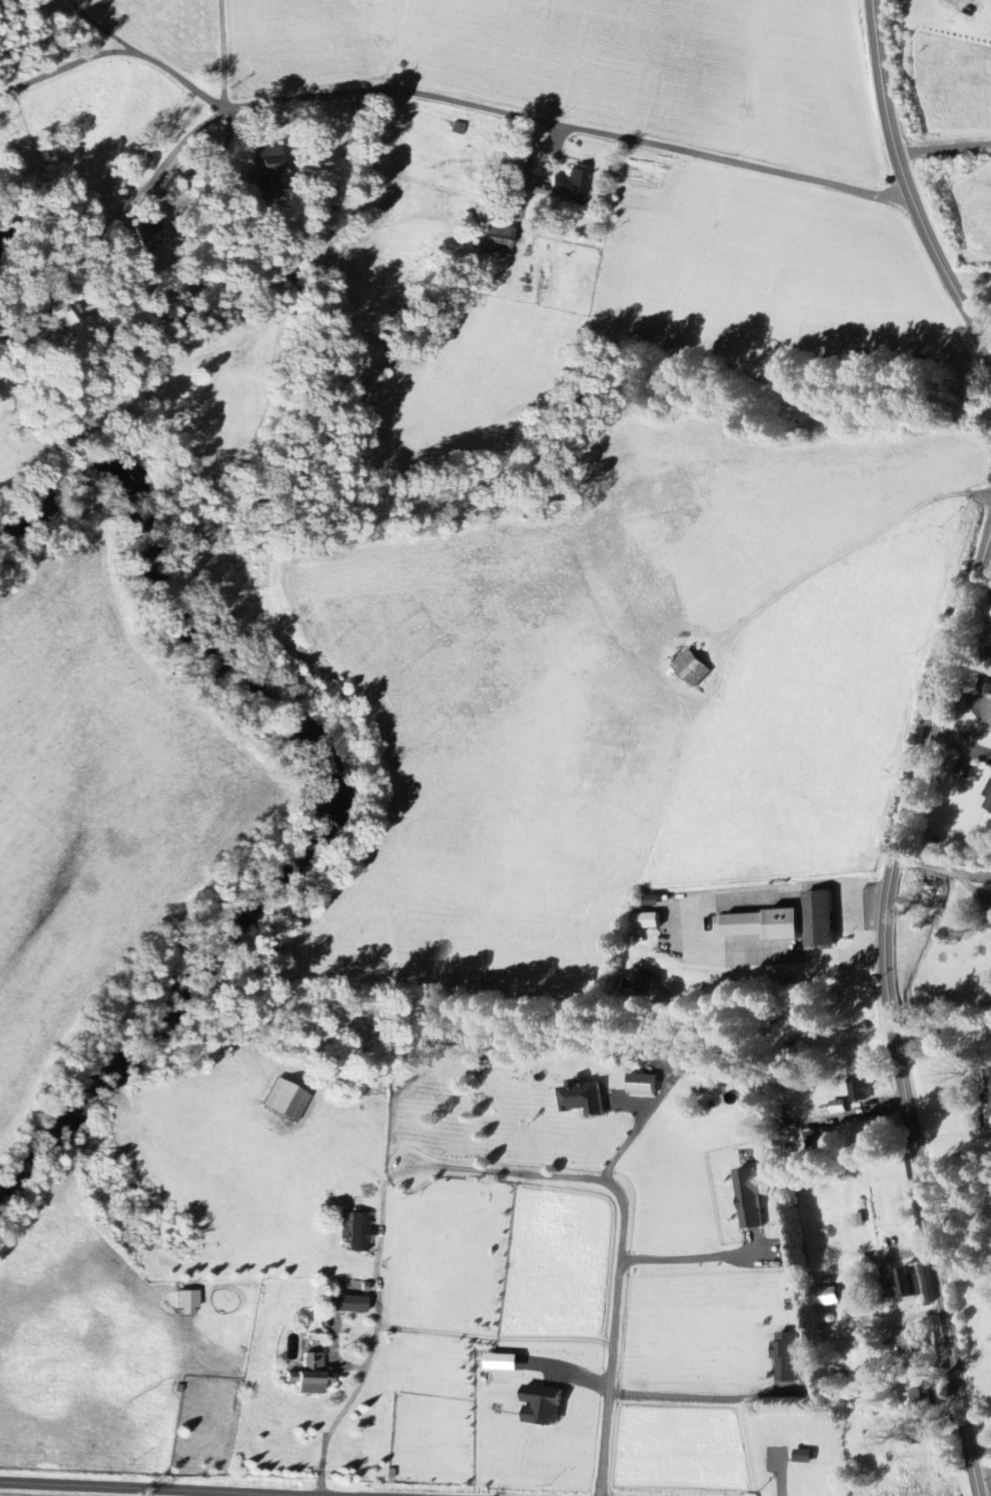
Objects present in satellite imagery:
road: (221, 52)
road: (447, 99)
road: (942, 146)
building: (269, 164)
building: (571, 185)
road: (906, 186)
road: (145, 188)
building: (151, 234)
building: (499, 240)
building: (71, 317)
road: (987, 547)
building: (693, 668)
building: (990, 690)
road: (959, 740)
building: (989, 792)
building: (990, 806)
river: (307, 813)
road: (942, 869)
building: (913, 884)
building: (936, 893)
building: (810, 919)
building: (652, 921)
building: (753, 931)
road: (890, 1005)
building: (644, 1084)
building: (989, 1084)
building: (862, 1092)
building: (584, 1099)
building: (287, 1101)
building: (839, 1108)
building: (819, 1143)
road: (614, 1186)
building: (753, 1197)
building: (859, 1221)
building: (361, 1233)
road: (689, 1258)
building: (913, 1284)
building: (830, 1296)
building: (189, 1303)
building: (348, 1305)
building: (913, 1344)
building: (788, 1357)
building: (506, 1363)
building: (310, 1376)
road: (362, 1380)
building: (925, 1399)
building: (545, 1406)
road: (602, 1445)
road: (979, 1451)
building: (806, 1457)
road: (197, 1488)

